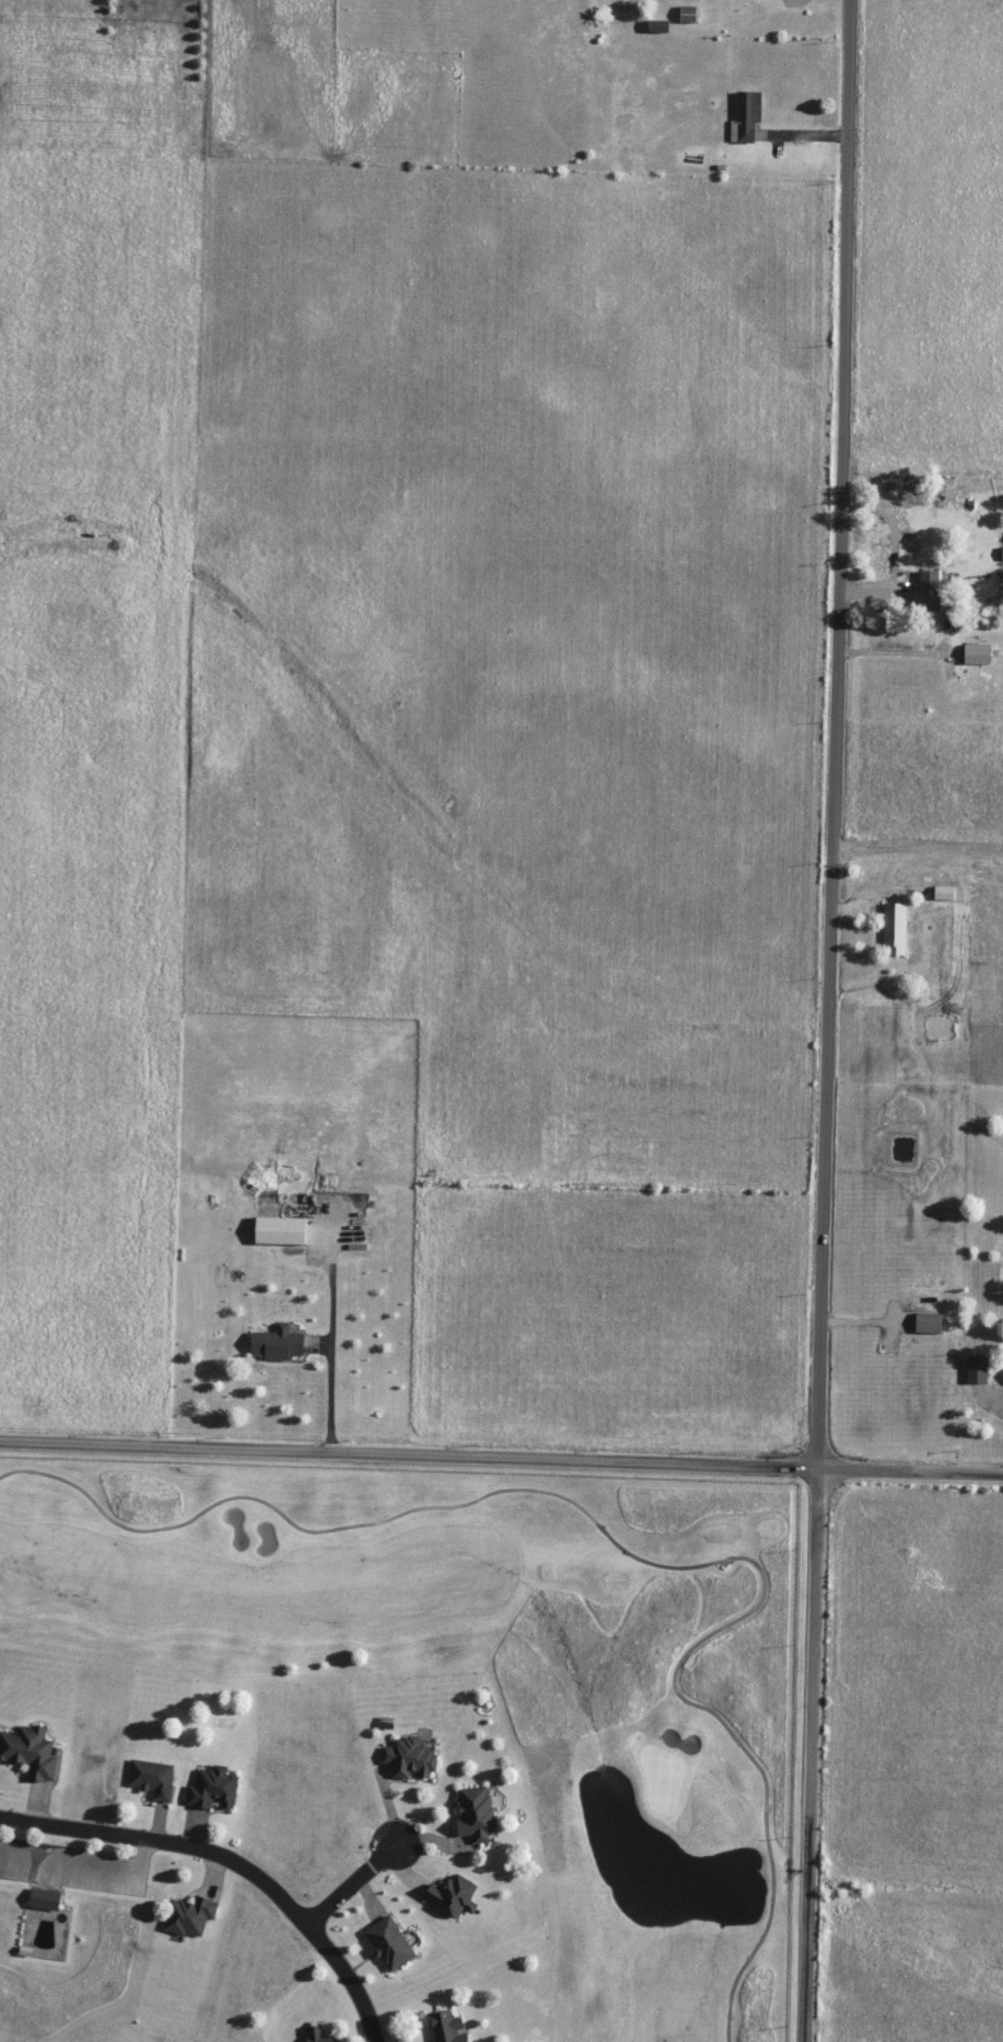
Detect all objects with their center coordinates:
building: (686, 14)
building: (742, 116)
building: (906, 542)
building: (1000, 553)
building: (925, 590)
building: (974, 654)
road: (918, 848)
building: (942, 894)
building: (892, 929)
road: (830, 1021)
building: (277, 1231)
building: (926, 1324)
building: (273, 1344)
building: (974, 1370)
road: (333, 1386)
road: (501, 1460)
road: (409, 1509)
park: (490, 1671)
building: (29, 1750)
park: (393, 1752)
building: (405, 1756)
building: (144, 1779)
building: (208, 1789)
road: (764, 1801)
building: (468, 1816)
road: (78, 1859)
road: (231, 1861)
road: (353, 1887)
building: (447, 1892)
building: (37, 1899)
building: (183, 1917)
park: (67, 1937)
building: (386, 1940)
building: (444, 2025)
building: (314, 2034)

